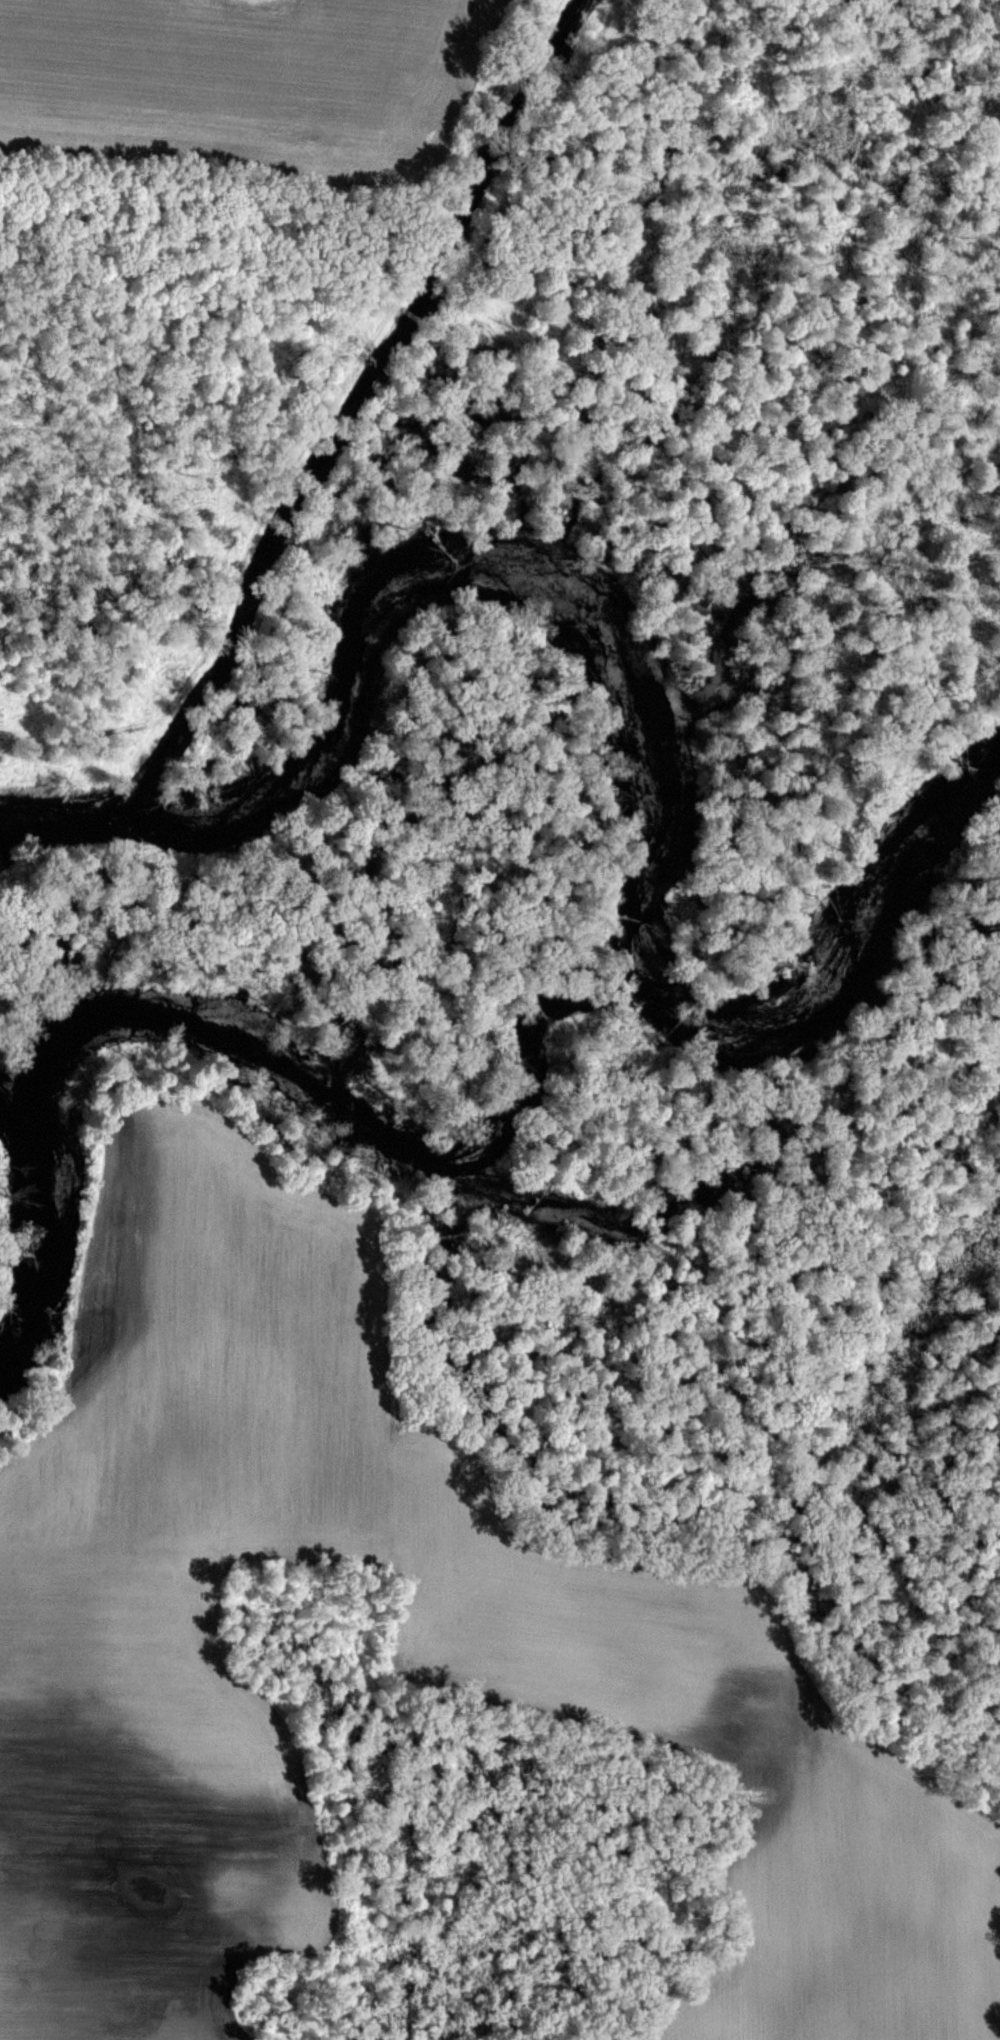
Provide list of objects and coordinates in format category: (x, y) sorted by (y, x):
river: (618, 678)
river: (52, 1228)

